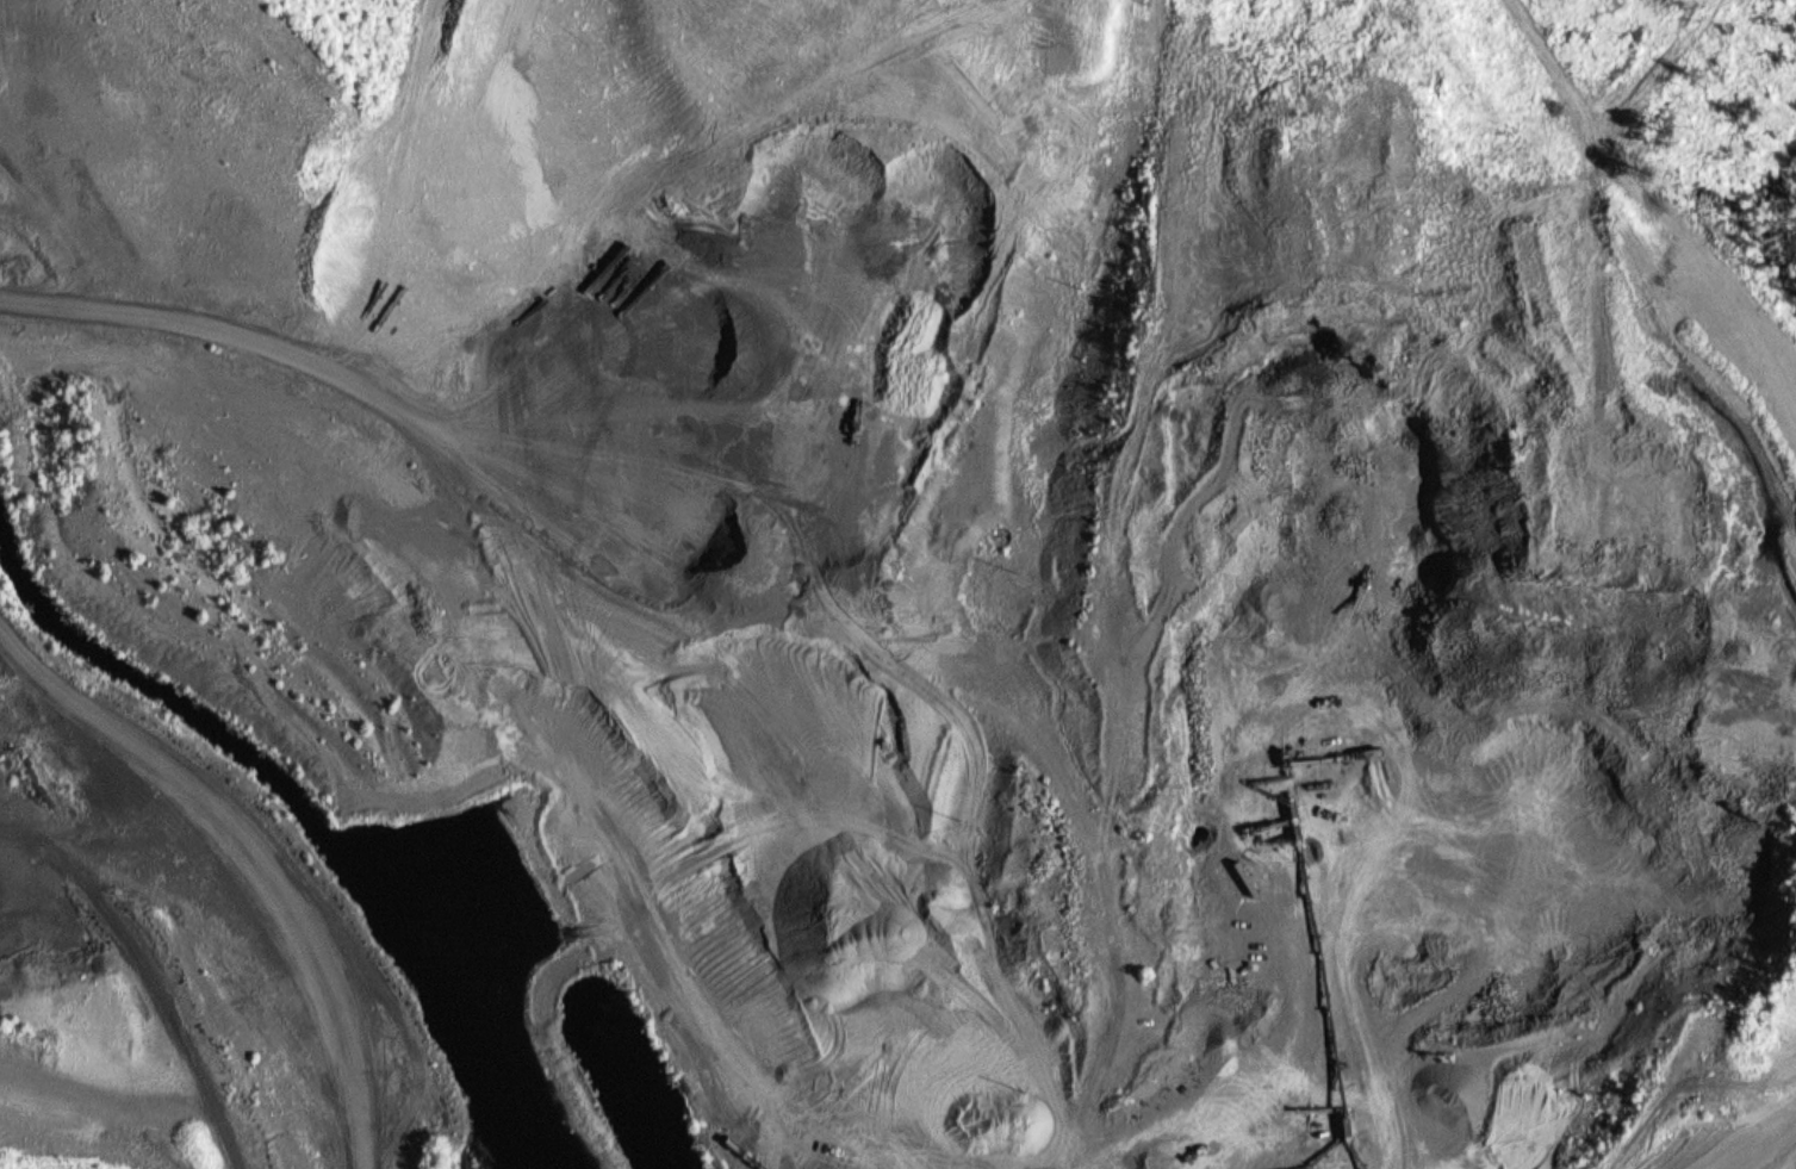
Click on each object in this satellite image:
road: (375, 180)
road: (573, 554)
road: (101, 1011)
road: (1272, 1102)

